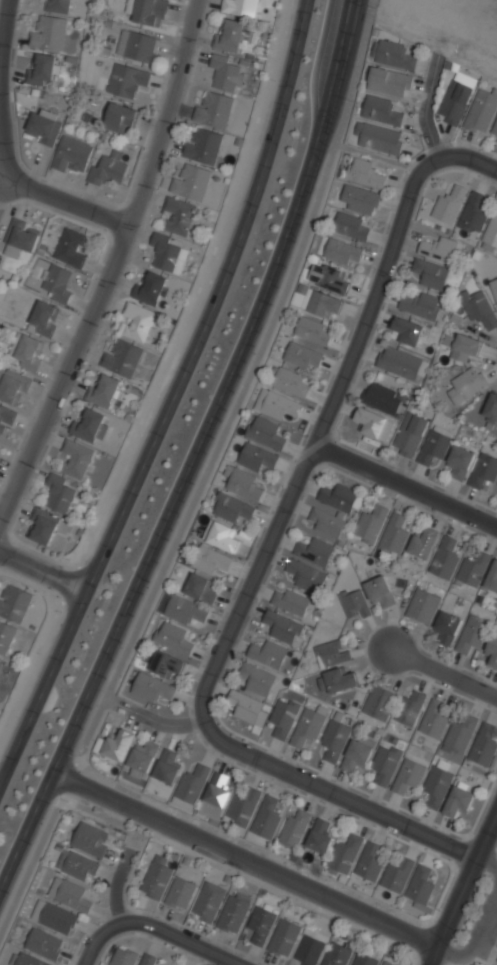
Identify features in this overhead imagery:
building: (58, 6)
building: (239, 7)
building: (149, 12)
road: (3, 24)
building: (49, 33)
building: (229, 36)
building: (136, 46)
building: (394, 55)
building: (43, 71)
building: (225, 72)
building: (126, 80)
building: (390, 81)
building: (455, 102)
building: (381, 109)
building: (213, 110)
building: (482, 110)
building: (120, 117)
building: (43, 127)
building: (494, 128)
building: (379, 137)
building: (202, 146)
building: (72, 155)
road: (461, 157)
building: (108, 168)
building: (365, 172)
building: (191, 182)
road: (22, 185)
road: (1, 193)
building: (359, 199)
building: (450, 204)
building: (474, 212)
building: (181, 215)
building: (352, 225)
building: (492, 230)
building: (20, 237)
building: (70, 247)
building: (440, 248)
building: (343, 251)
building: (167, 252)
road: (111, 263)
building: (431, 273)
building: (329, 277)
building: (57, 282)
building: (149, 288)
building: (494, 288)
building: (321, 302)
building: (420, 305)
building: (479, 308)
building: (42, 319)
building: (139, 322)
building: (314, 330)
building: (408, 330)
building: (464, 347)
building: (27, 350)
building: (303, 355)
building: (122, 358)
building: (403, 363)
building: (292, 381)
building: (467, 385)
building: (12, 386)
building: (103, 390)
road: (327, 396)
road: (172, 398)
building: (382, 398)
building: (277, 403)
building: (491, 408)
building: (5, 420)
building: (373, 424)
building: (89, 425)
building: (267, 432)
building: (409, 435)
building: (433, 448)
road: (195, 451)
building: (257, 457)
building: (76, 458)
building: (460, 462)
road: (205, 473)
building: (483, 473)
building: (243, 482)
road: (403, 486)
building: (60, 492)
building: (338, 498)
building: (231, 506)
building: (326, 522)
building: (370, 524)
building: (43, 525)
building: (395, 532)
building: (223, 536)
building: (422, 544)
building: (315, 551)
building: (445, 557)
building: (210, 559)
building: (473, 570)
road: (43, 572)
building: (307, 576)
building: (492, 579)
building: (199, 588)
building: (381, 590)
building: (13, 602)
building: (290, 602)
building: (355, 603)
building: (423, 606)
building: (185, 610)
building: (282, 627)
building: (447, 628)
building: (472, 634)
building: (5, 636)
road: (43, 636)
building: (173, 637)
building: (493, 651)
building: (332, 654)
building: (268, 655)
building: (1, 663)
building: (166, 663)
road: (444, 673)
building: (257, 680)
building: (337, 680)
building: (152, 686)
building: (379, 703)
building: (245, 707)
building: (410, 708)
building: (283, 718)
road: (155, 720)
building: (434, 720)
building: (307, 728)
building: (460, 734)
building: (335, 740)
building: (117, 745)
building: (484, 746)
road: (243, 750)
building: (357, 753)
building: (142, 757)
building: (385, 765)
building: (166, 767)
building: (408, 777)
building: (192, 784)
building: (437, 787)
building: (215, 797)
building: (458, 802)
building: (242, 808)
road: (384, 816)
building: (266, 818)
building: (295, 828)
building: (319, 838)
building: (91, 839)
road: (490, 854)
building: (345, 855)
road: (243, 861)
building: (370, 861)
building: (77, 865)
building: (397, 875)
building: (156, 877)
road: (466, 881)
road: (117, 883)
building: (421, 885)
building: (69, 893)
building: (180, 893)
building: (208, 902)
building: (232, 915)
building: (55, 917)
park: (478, 924)
building: (260, 925)
road: (473, 934)
road: (180, 938)
road: (100, 939)
building: (283, 939)
building: (45, 944)
building: (308, 951)
building: (337, 955)
building: (123, 957)
road: (433, 957)
building: (30, 960)
building: (364, 960)
building: (148, 961)
building: (387, 963)

